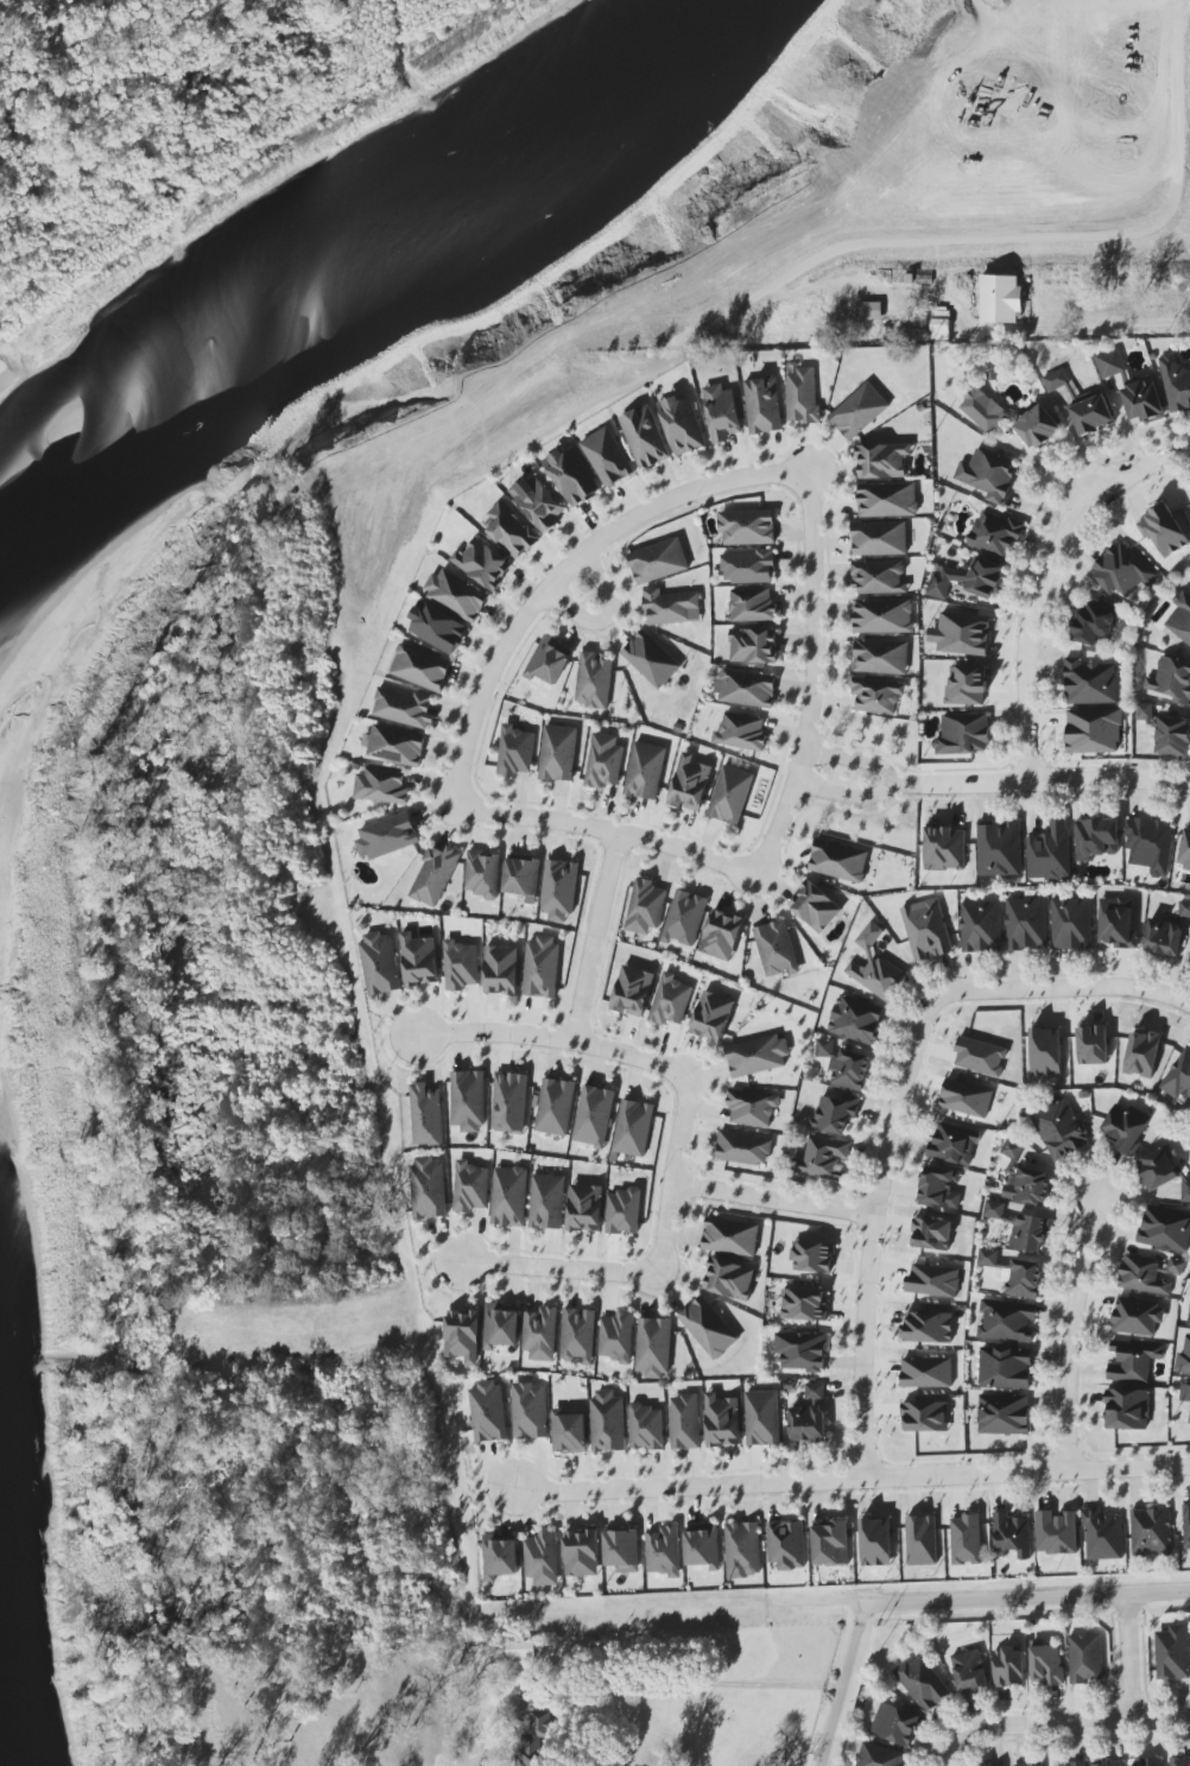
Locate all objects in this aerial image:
river: (365, 254)
building: (1001, 298)
building: (869, 311)
building: (941, 324)
road: (1110, 325)
building: (1056, 380)
building: (1176, 384)
building: (1133, 390)
building: (803, 398)
building: (764, 404)
building: (985, 410)
building: (859, 411)
building: (723, 412)
building: (1093, 413)
building: (1038, 423)
building: (682, 424)
building: (645, 437)
building: (607, 457)
building: (884, 461)
road: (1045, 471)
building: (987, 474)
building: (571, 476)
building: (888, 500)
building: (537, 501)
building: (747, 527)
building: (511, 531)
building: (1164, 531)
building: (994, 533)
building: (880, 537)
building: (658, 561)
building: (483, 563)
building: (749, 566)
road: (569, 569)
building: (1122, 570)
building: (879, 576)
building: (967, 578)
road: (1043, 578)
building: (457, 595)
building: (752, 605)
building: (671, 607)
road: (609, 616)
building: (884, 616)
building: (1180, 616)
building: (1094, 620)
building: (437, 627)
building: (964, 634)
building: (754, 646)
building: (882, 657)
building: (651, 659)
building: (547, 660)
building: (420, 667)
road: (815, 672)
building: (595, 675)
building: (1172, 679)
building: (1088, 683)
building: (968, 685)
building: (746, 688)
building: (875, 695)
building: (404, 708)
building: (1145, 711)
building: (1093, 729)
building: (741, 732)
building: (962, 734)
building: (1173, 736)
building: (395, 745)
building: (515, 752)
building: (558, 753)
road: (855, 758)
building: (605, 761)
building: (645, 771)
road: (1044, 779)
building: (689, 783)
building: (381, 786)
road: (848, 792)
building: (730, 795)
road: (610, 830)
building: (387, 836)
building: (1096, 838)
building: (1150, 844)
building: (1184, 847)
building: (945, 848)
building: (999, 848)
building: (1049, 853)
building: (838, 861)
building: (435, 874)
building: (482, 874)
building: (523, 876)
building: (559, 887)
building: (815, 905)
building: (645, 907)
building: (1184, 910)
building: (684, 918)
building: (1116, 922)
building: (1026, 923)
building: (1071, 923)
building: (981, 926)
building: (926, 929)
building: (722, 935)
road: (599, 937)
building: (1164, 937)
building: (776, 949)
building: (419, 960)
building: (1189, 961)
building: (380, 963)
building: (542, 964)
building: (460, 966)
building: (875, 967)
building: (501, 970)
road: (1062, 988)
building: (633, 990)
building: (670, 1000)
building: (711, 1017)
building: (856, 1020)
road: (551, 1039)
building: (1093, 1043)
building: (1045, 1049)
building: (1144, 1051)
building: (980, 1055)
building: (758, 1056)
building: (844, 1064)
building: (1177, 1076)
building: (966, 1097)
building: (468, 1100)
building: (509, 1102)
building: (553, 1104)
building: (751, 1106)
building: (835, 1113)
building: (426, 1115)
building: (594, 1116)
building: (634, 1126)
building: (1128, 1128)
building: (1061, 1129)
building: (955, 1144)
building: (743, 1148)
building: (822, 1158)
building: (1163, 1172)
road: (675, 1173)
building: (1025, 1179)
building: (468, 1186)
building: (939, 1188)
building: (429, 1189)
building: (509, 1196)
road: (776, 1198)
building: (547, 1202)
building: (585, 1208)
building: (624, 1211)
building: (1021, 1228)
building: (1165, 1229)
building: (932, 1234)
road: (873, 1235)
building: (730, 1236)
building: (812, 1255)
road: (561, 1267)
building: (1014, 1273)
building: (1147, 1274)
building: (729, 1279)
building: (933, 1280)
building: (805, 1305)
building: (1135, 1316)
building: (1188, 1317)
building: (1005, 1319)
building: (929, 1325)
building: (501, 1327)
building: (708, 1328)
road: (1074, 1331)
building: (540, 1334)
building: (578, 1335)
building: (462, 1336)
building: (616, 1337)
building: (653, 1347)
building: (802, 1352)
building: (1133, 1360)
building: (1183, 1360)
building: (1006, 1368)
building: (926, 1372)
building: (815, 1392)
building: (1185, 1392)
building: (1127, 1407)
building: (530, 1411)
building: (488, 1412)
building: (924, 1414)
building: (1004, 1414)
building: (762, 1418)
building: (607, 1419)
building: (722, 1422)
building: (685, 1423)
building: (808, 1424)
building: (646, 1428)
building: (569, 1431)
road: (853, 1480)
building: (1186, 1525)
building: (1151, 1531)
building: (1057, 1532)
building: (1012, 1536)
building: (1103, 1536)
building: (967, 1539)
building: (876, 1540)
building: (922, 1540)
building: (785, 1544)
building: (831, 1544)
building: (703, 1547)
building: (742, 1550)
building: (622, 1551)
building: (582, 1553)
building: (664, 1553)
building: (499, 1558)
building: (542, 1558)
road: (1027, 1597)
road: (822, 1606)
building: (521, 1650)
building: (1173, 1652)
road: (1126, 1656)
building: (1085, 1658)
building: (1046, 1664)
building: (1009, 1667)
building: (969, 1670)
building: (923, 1683)
road: (844, 1684)
road: (698, 1685)
road: (1069, 1721)
building: (895, 1724)
building: (537, 1742)
river: (2, 1748)
road: (950, 1754)
building: (879, 1755)
building: (1179, 1761)
building: (1152, 1762)
building: (1077, 1764)
building: (1107, 1764)
building: (1030, 1765)

